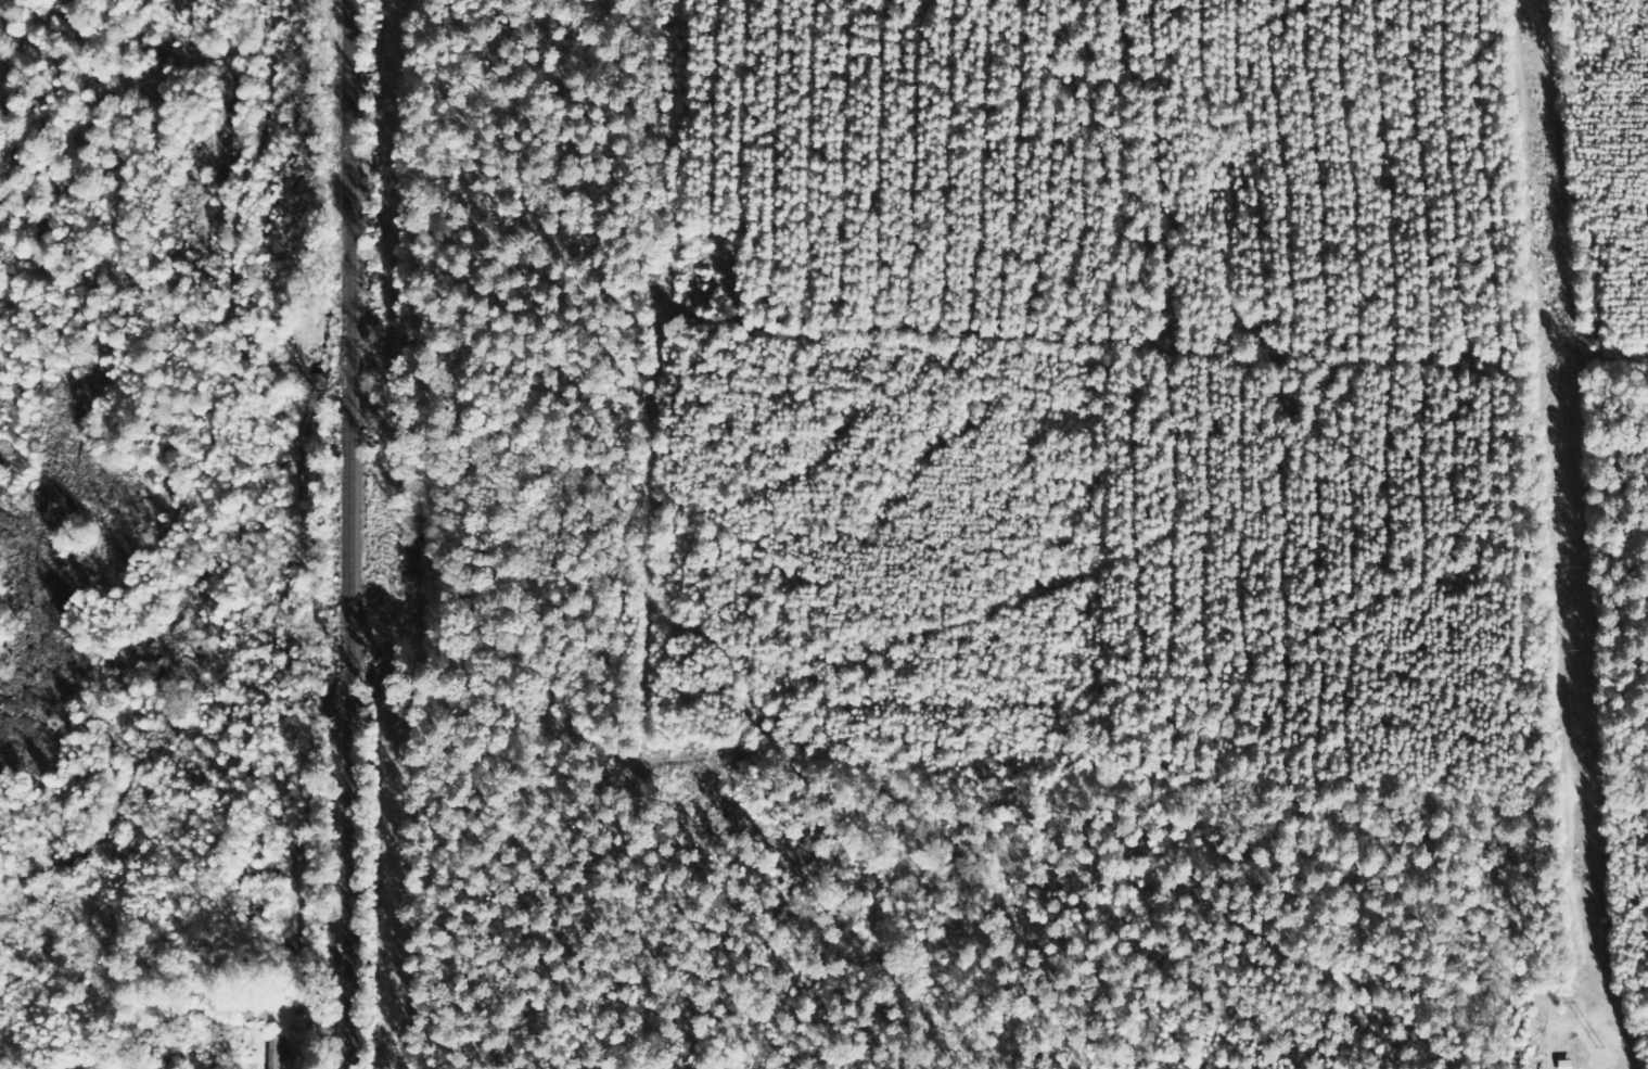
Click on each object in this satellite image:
power tower: (1546, 271)
railway: (366, 534)
power tower: (1572, 650)
building: (255, 1018)
road: (298, 1047)
power tower: (1599, 1048)

